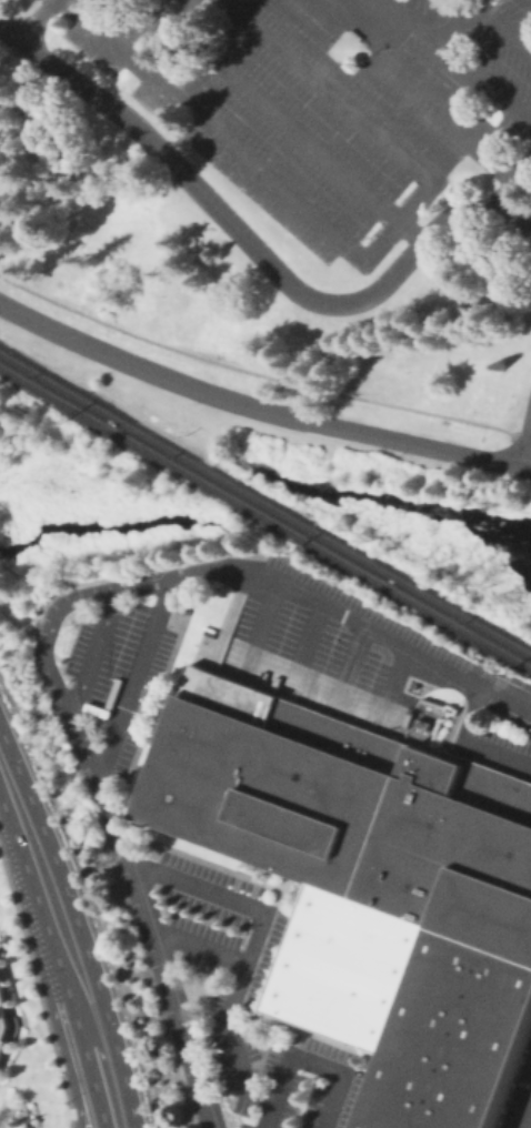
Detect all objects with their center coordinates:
road: (44, 19)
road: (383, 20)
road: (503, 24)
road: (442, 42)
parking lot: (478, 69)
road: (431, 101)
parking lot: (279, 109)
road: (274, 112)
road: (414, 233)
road: (254, 250)
road: (358, 253)
road: (259, 407)
road: (530, 467)
railway: (265, 502)
railway: (265, 516)
road: (269, 621)
road: (354, 622)
road: (311, 637)
road: (43, 638)
road: (91, 654)
road: (355, 659)
road: (134, 678)
building: (424, 724)
building: (415, 734)
building: (424, 737)
road: (467, 747)
road: (30, 838)
building: (379, 889)
road: (199, 945)
road: (247, 949)
road: (160, 951)
building: (1, 996)
road: (91, 1021)
road: (58, 1024)
building: (2, 1026)
building: (0, 1050)
road: (307, 1056)
road: (70, 1114)

